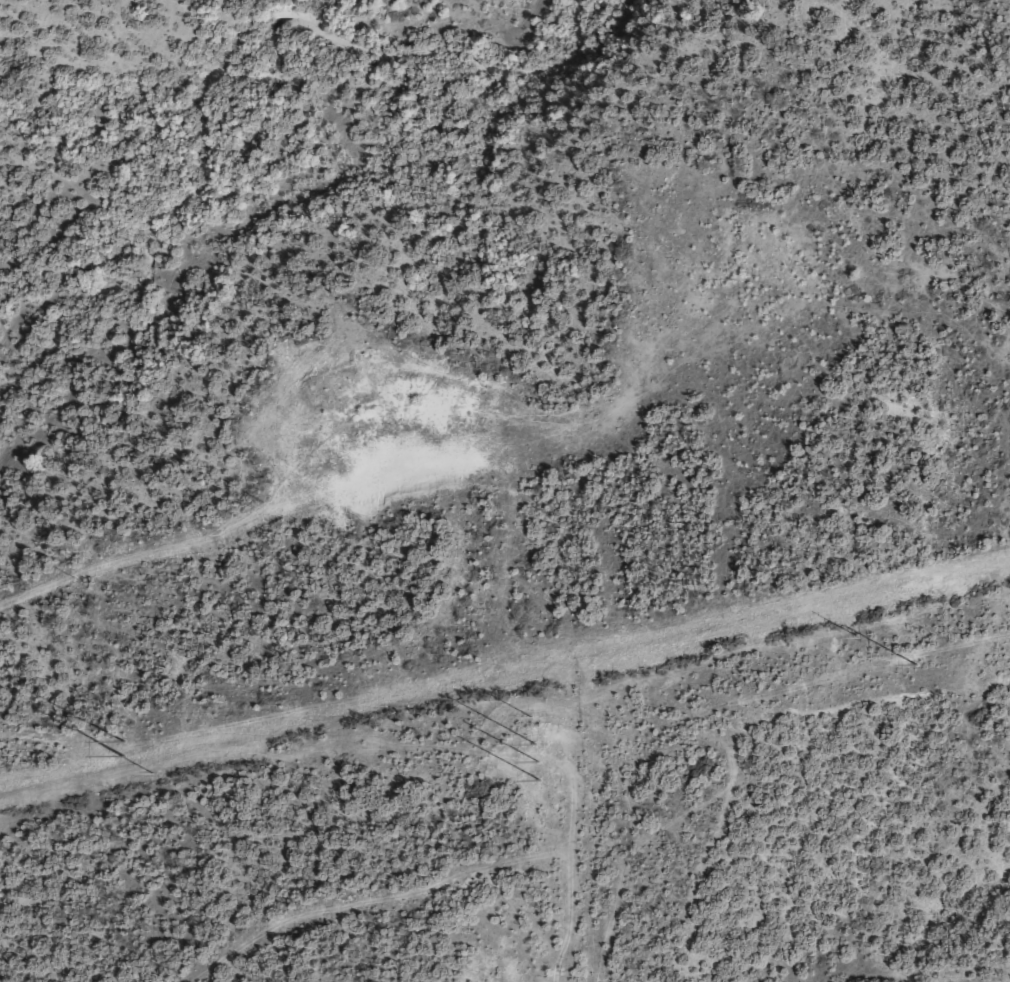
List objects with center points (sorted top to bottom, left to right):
power tower: (854, 637)
power tower: (914, 664)
power tower: (530, 716)
power tower: (121, 749)
power tower: (535, 762)
power tower: (151, 771)
road: (788, 808)

